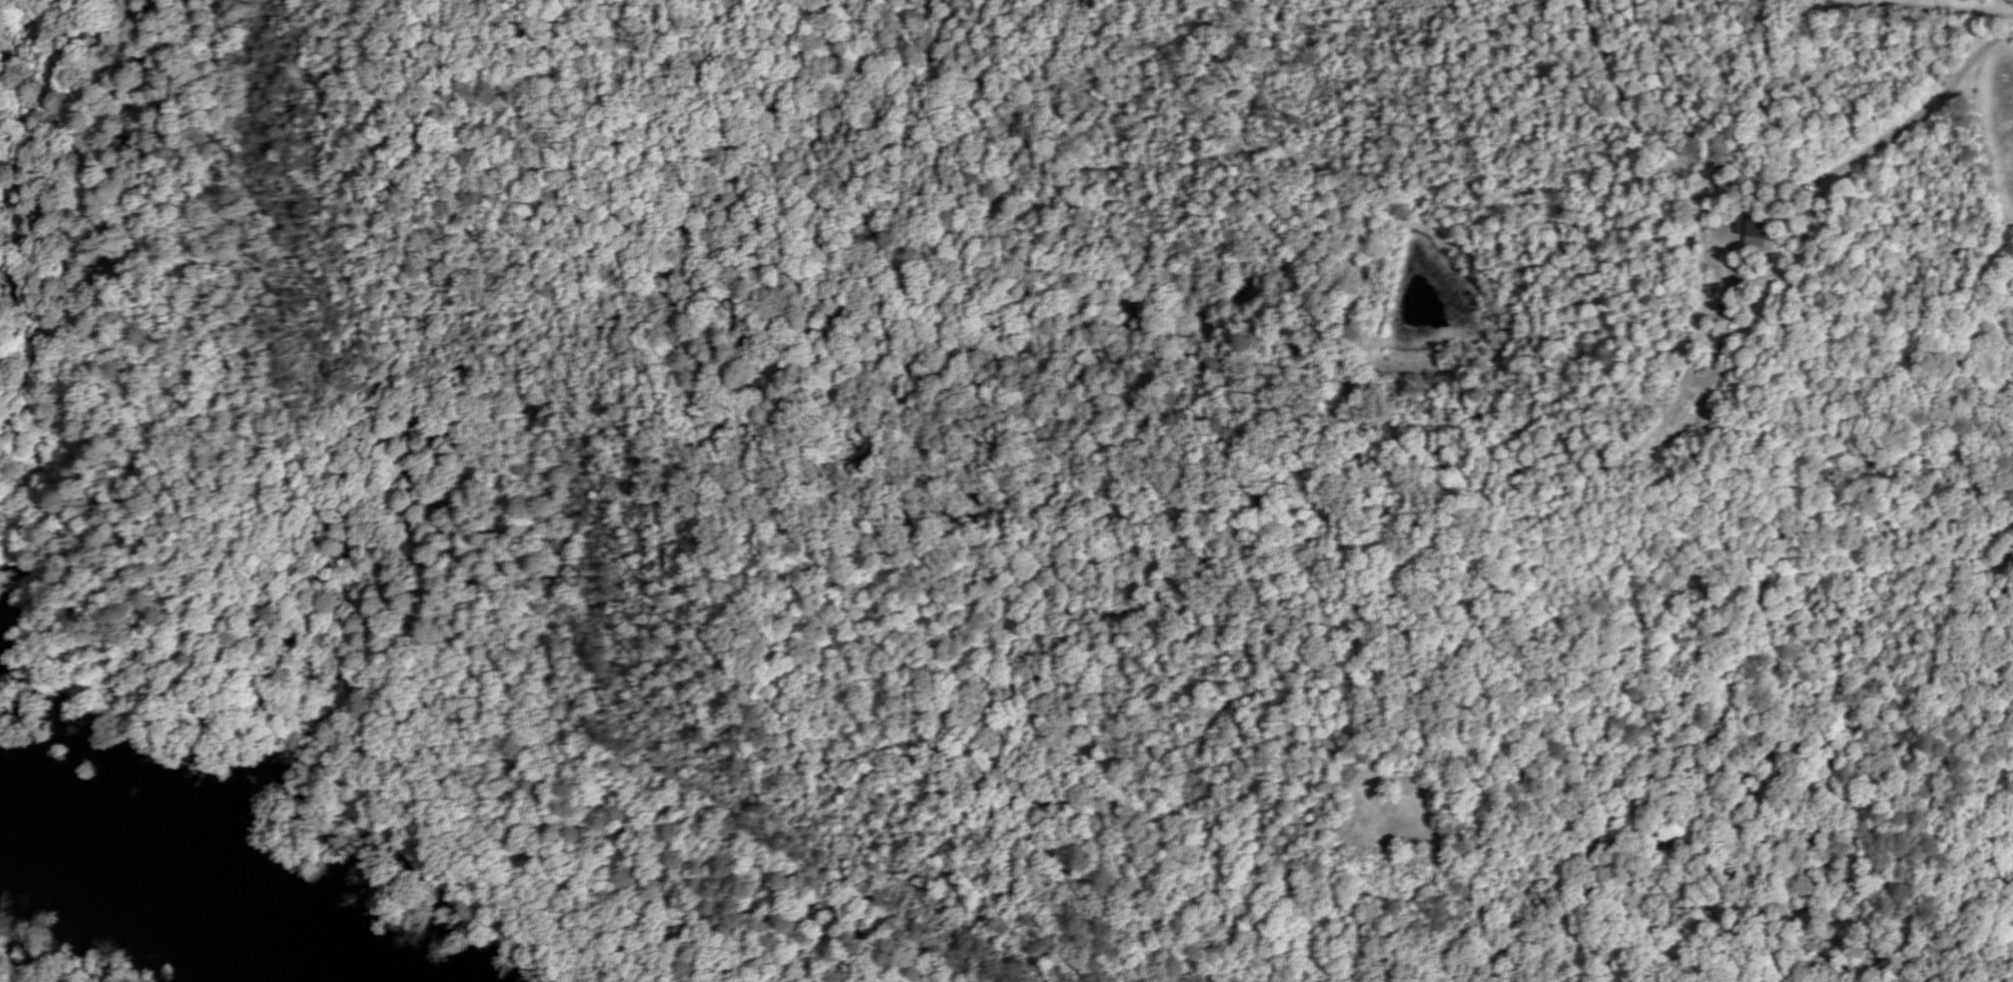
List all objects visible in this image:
road: (1902, 10)
road: (1777, 175)
building: (1757, 240)
river: (181, 901)

